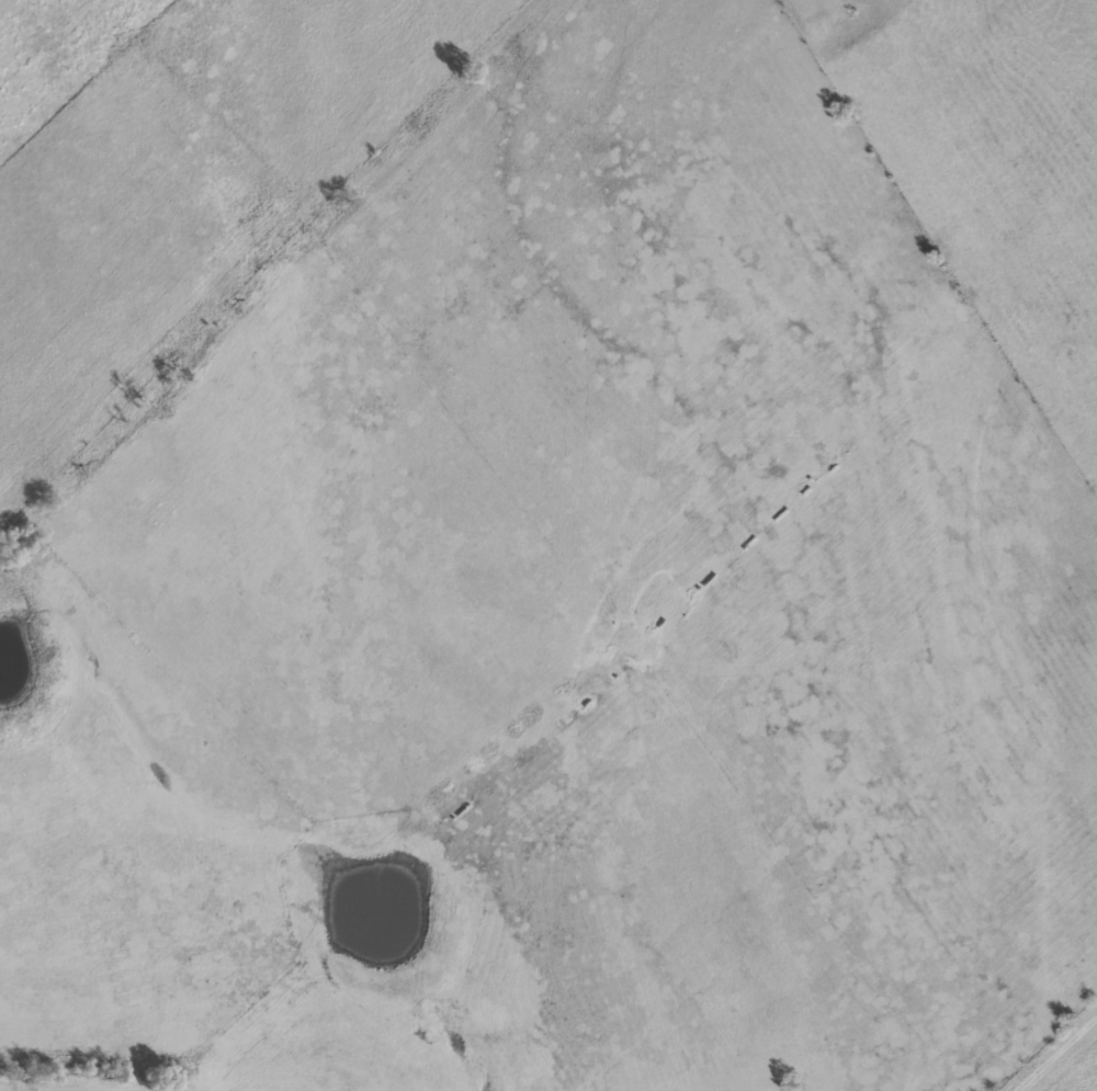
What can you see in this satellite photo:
road: (1063, 1058)

